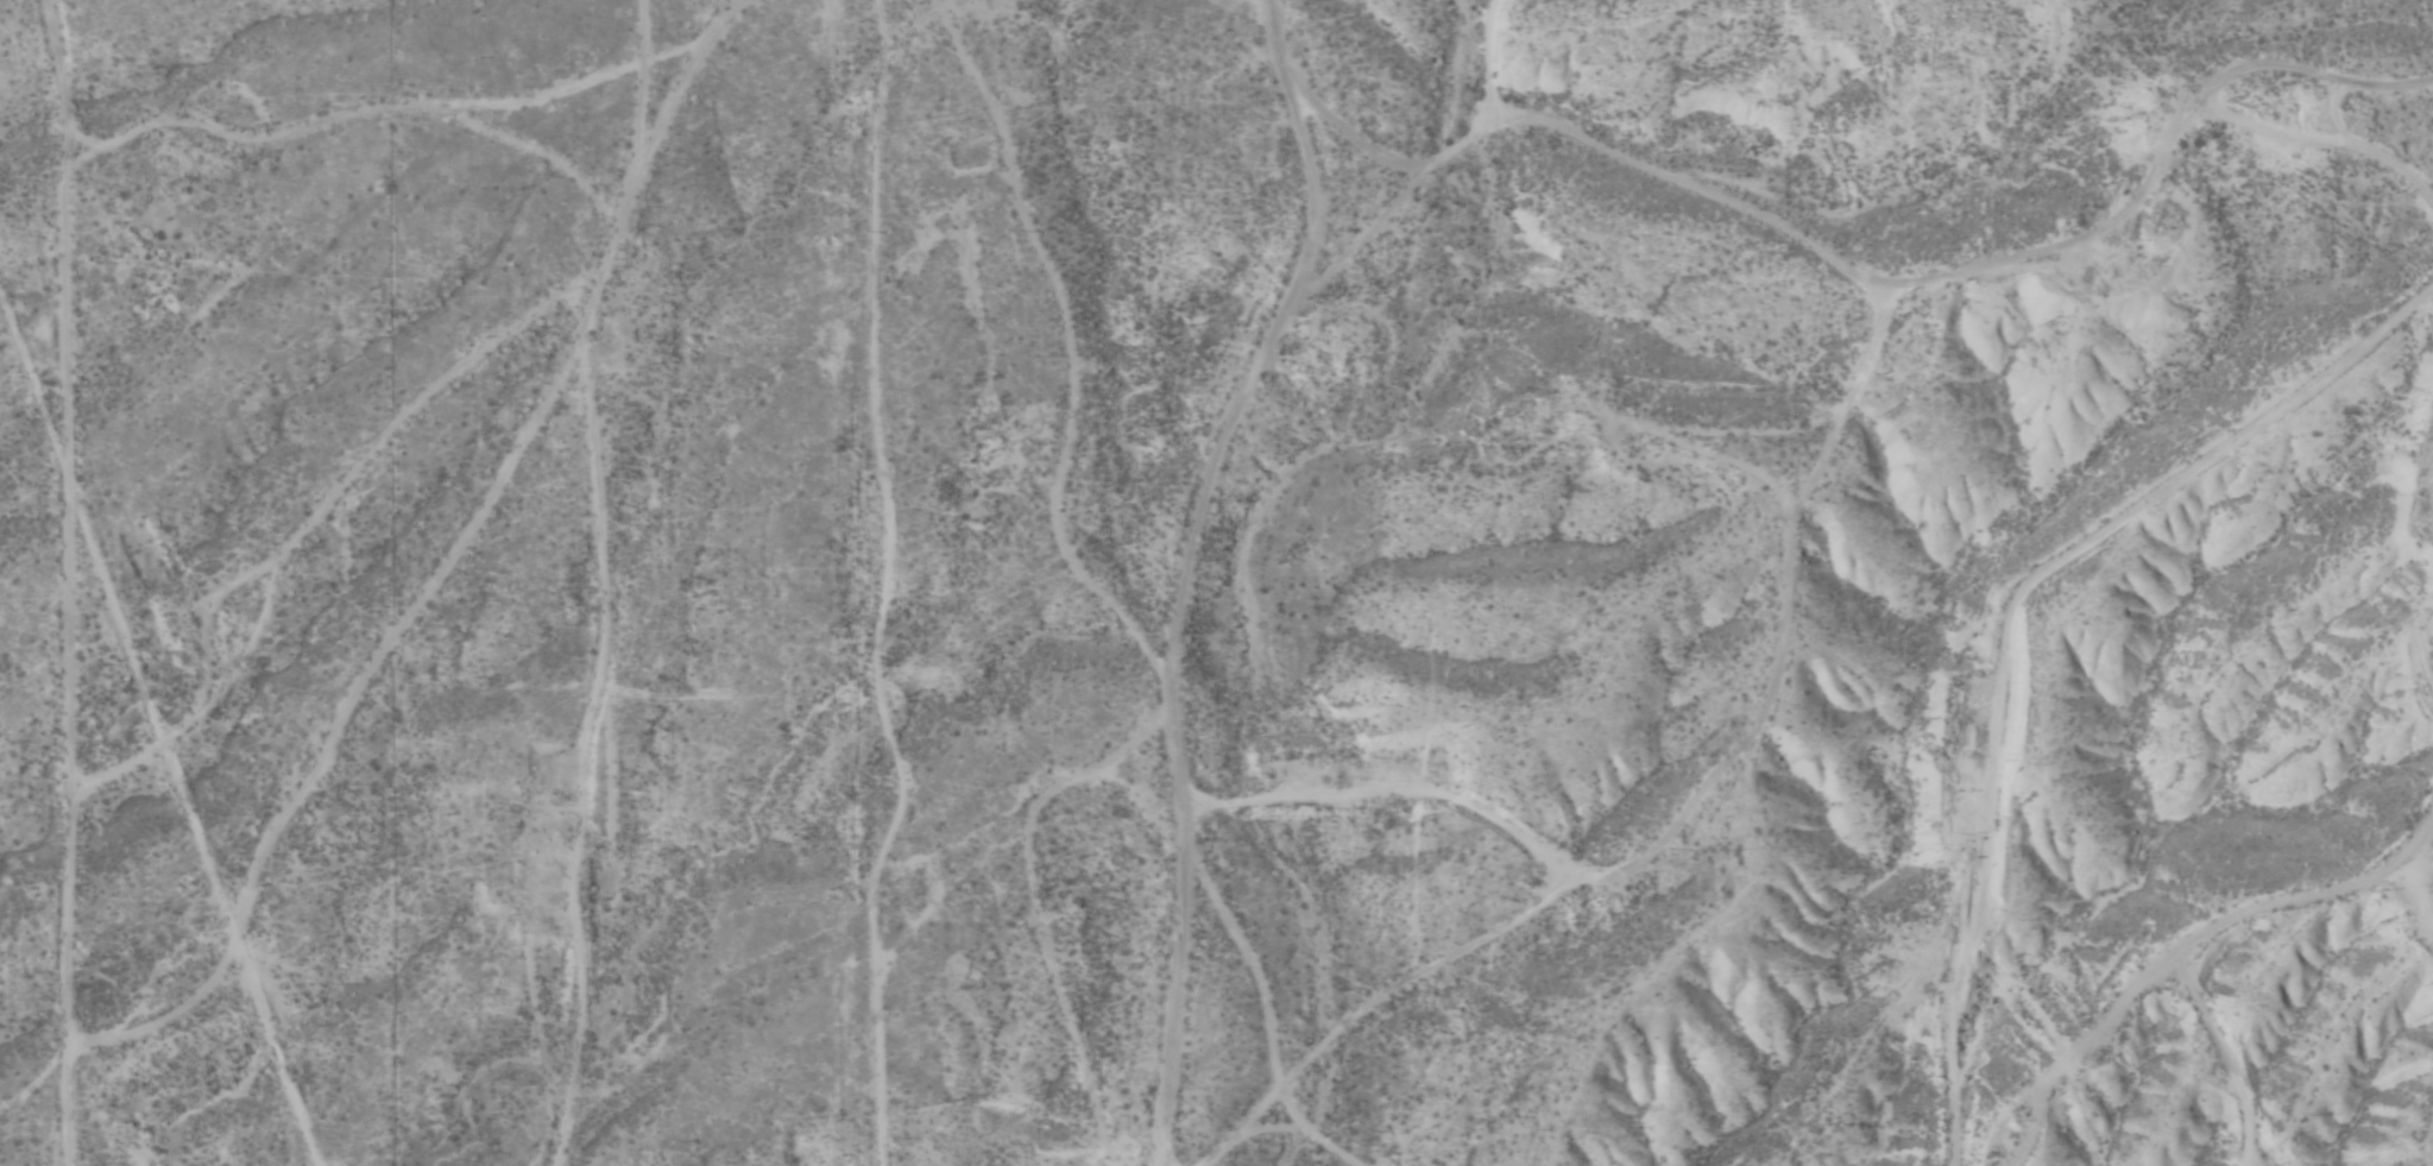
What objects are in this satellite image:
road: (1790, 292)
road: (612, 584)
road: (1170, 656)
road: (2269, 887)

